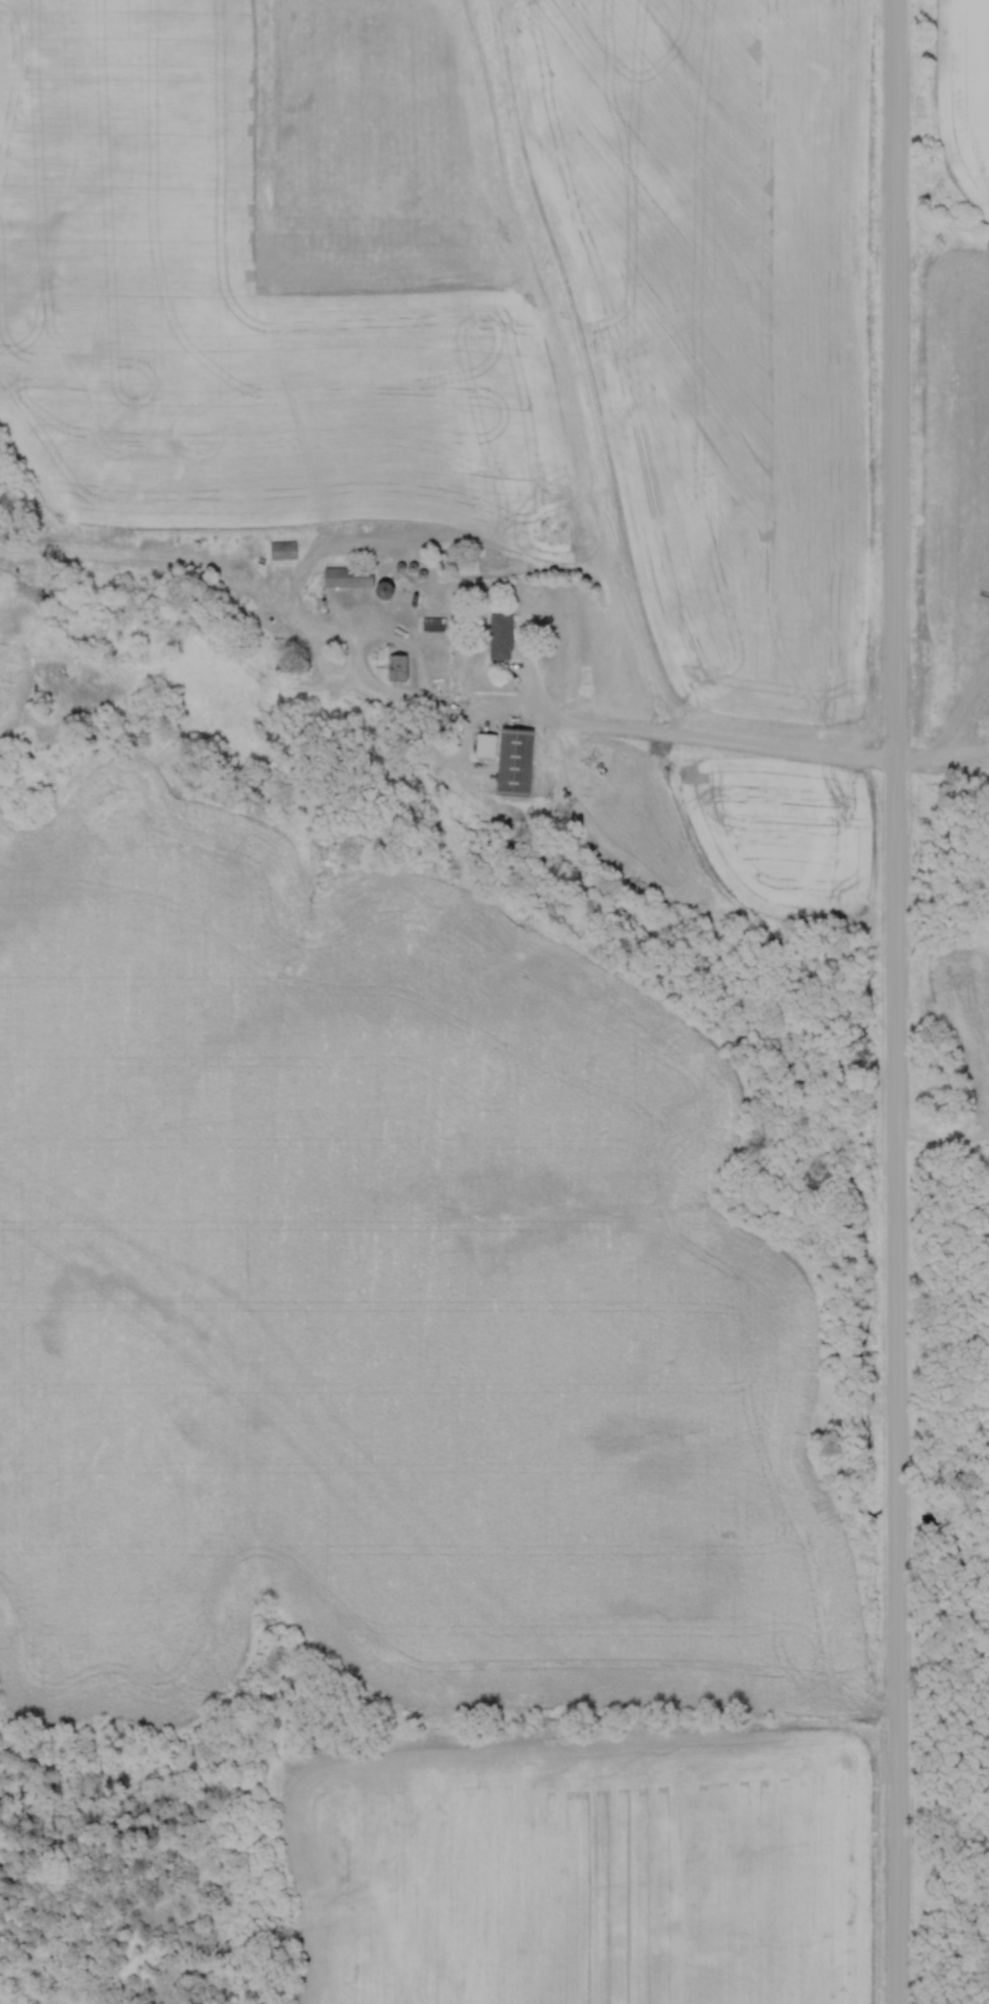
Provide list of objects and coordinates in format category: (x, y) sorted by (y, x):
building: (279, 550)
building: (342, 577)
building: (497, 637)
building: (393, 667)
road: (710, 738)
building: (505, 758)
road: (897, 1002)

